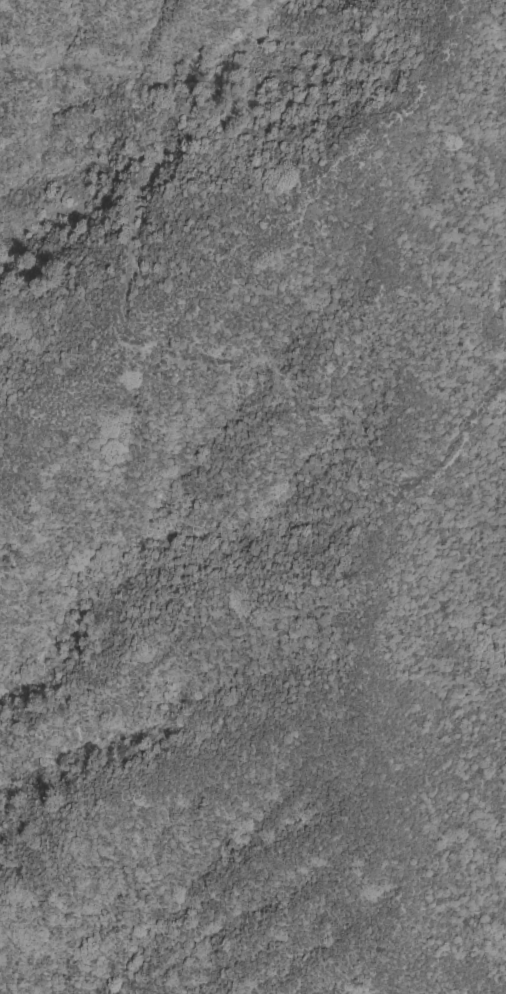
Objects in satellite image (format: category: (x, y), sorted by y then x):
road: (252, 420)

